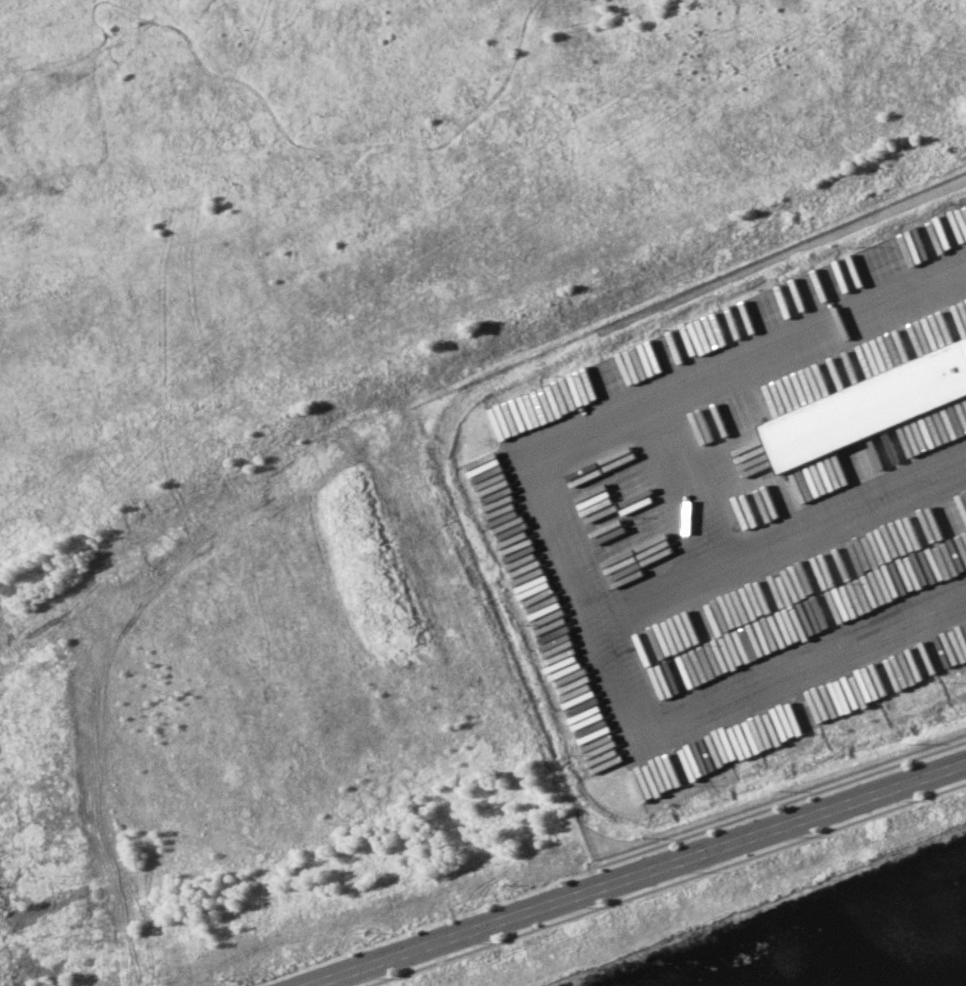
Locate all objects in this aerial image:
building: (786, 387)
building: (866, 408)
road: (552, 538)
road: (632, 875)

